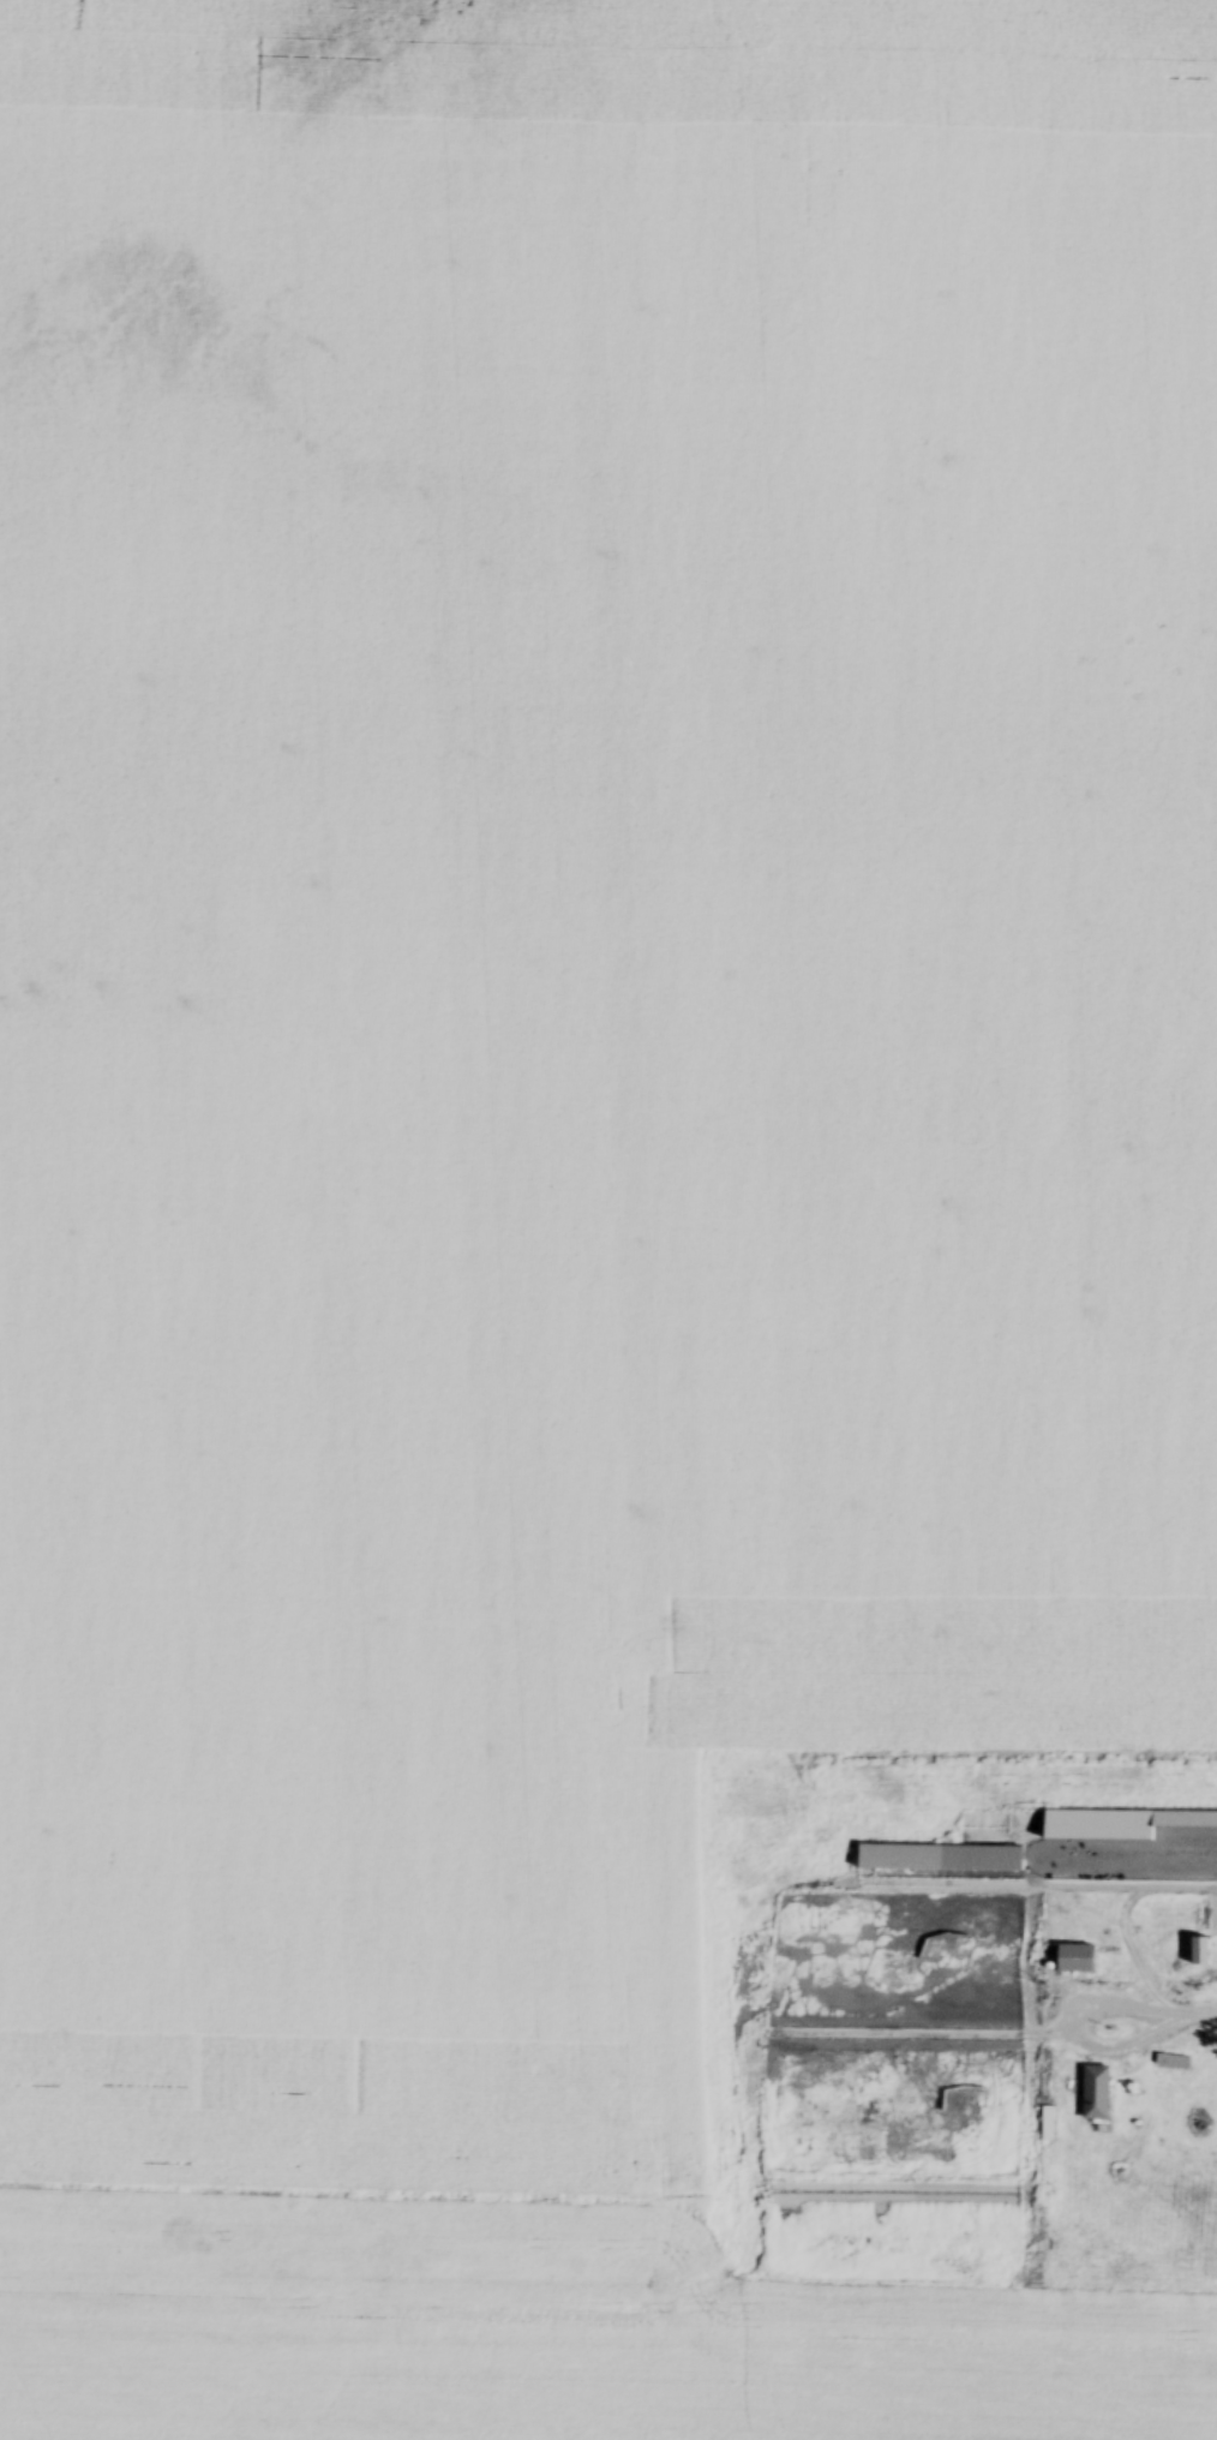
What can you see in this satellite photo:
building: (1102, 1826)
building: (1024, 1829)
building: (940, 1859)
building: (1075, 1958)
road: (1191, 2010)
road: (1078, 2035)
building: (1018, 2087)
building: (1096, 2093)
building: (790, 2193)

